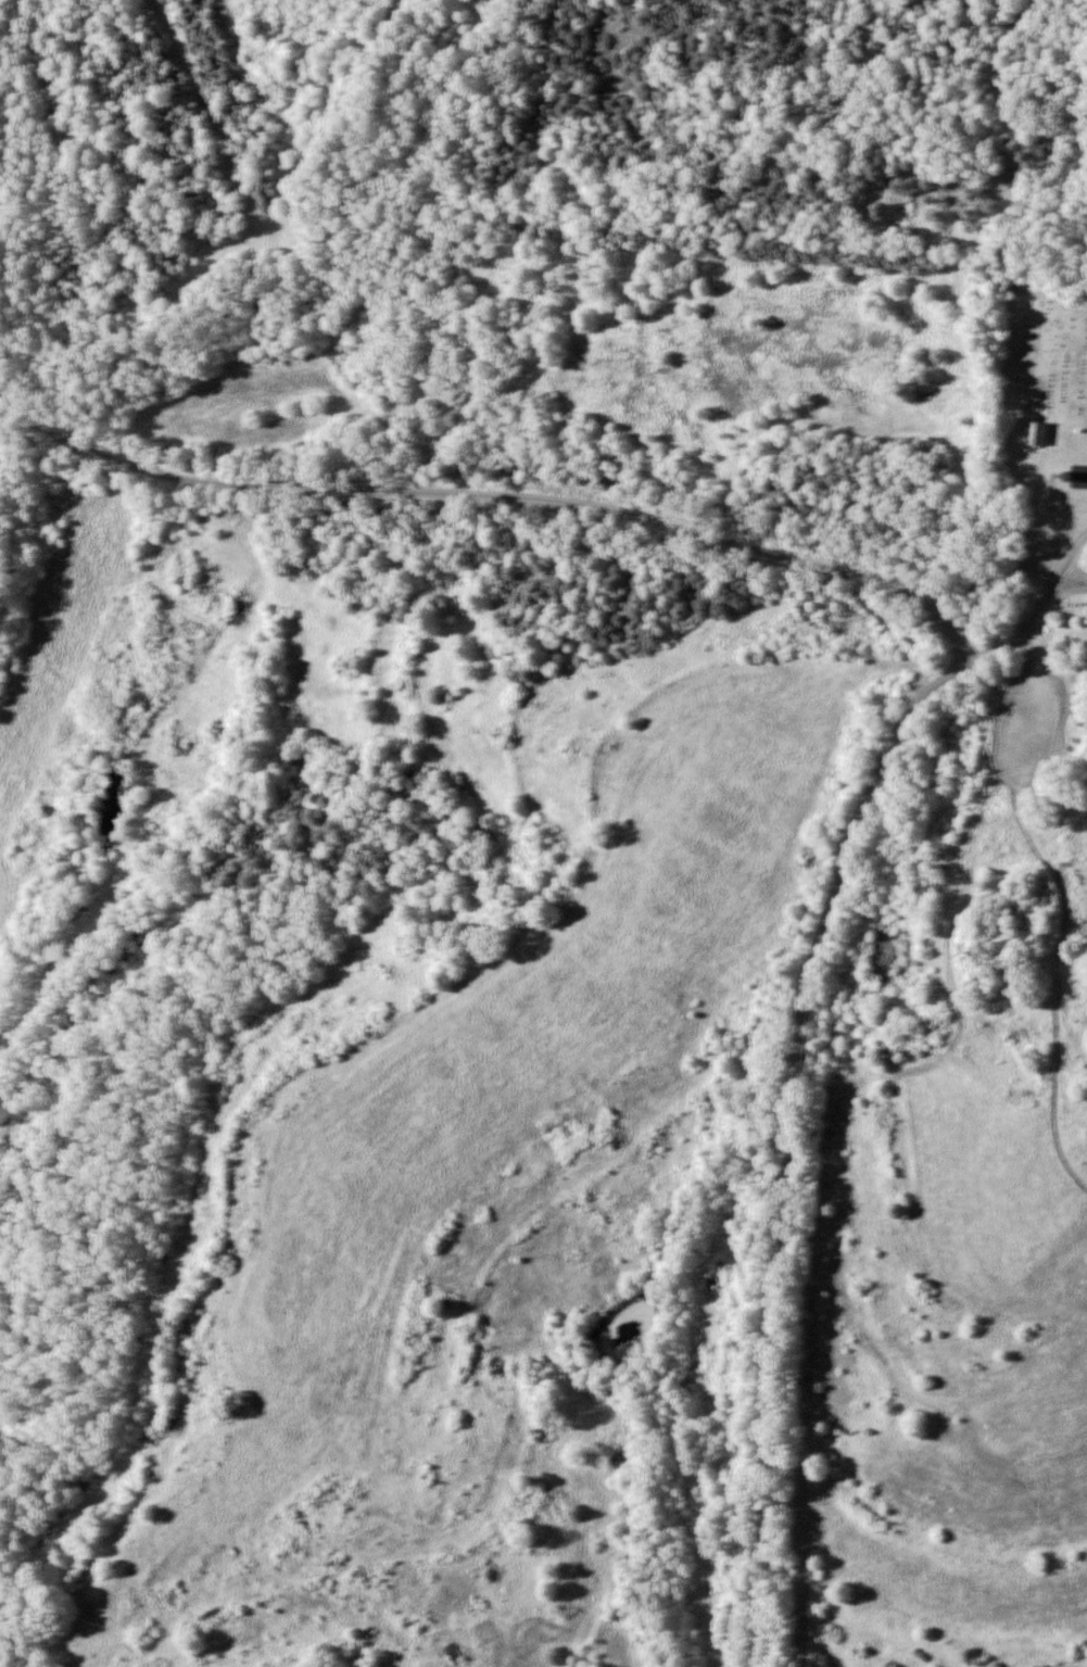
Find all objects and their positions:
park: (1041, 348)
building: (1037, 434)
building: (1077, 477)
road: (592, 508)
parking lot: (1036, 657)
road: (1036, 703)
road: (793, 1142)

